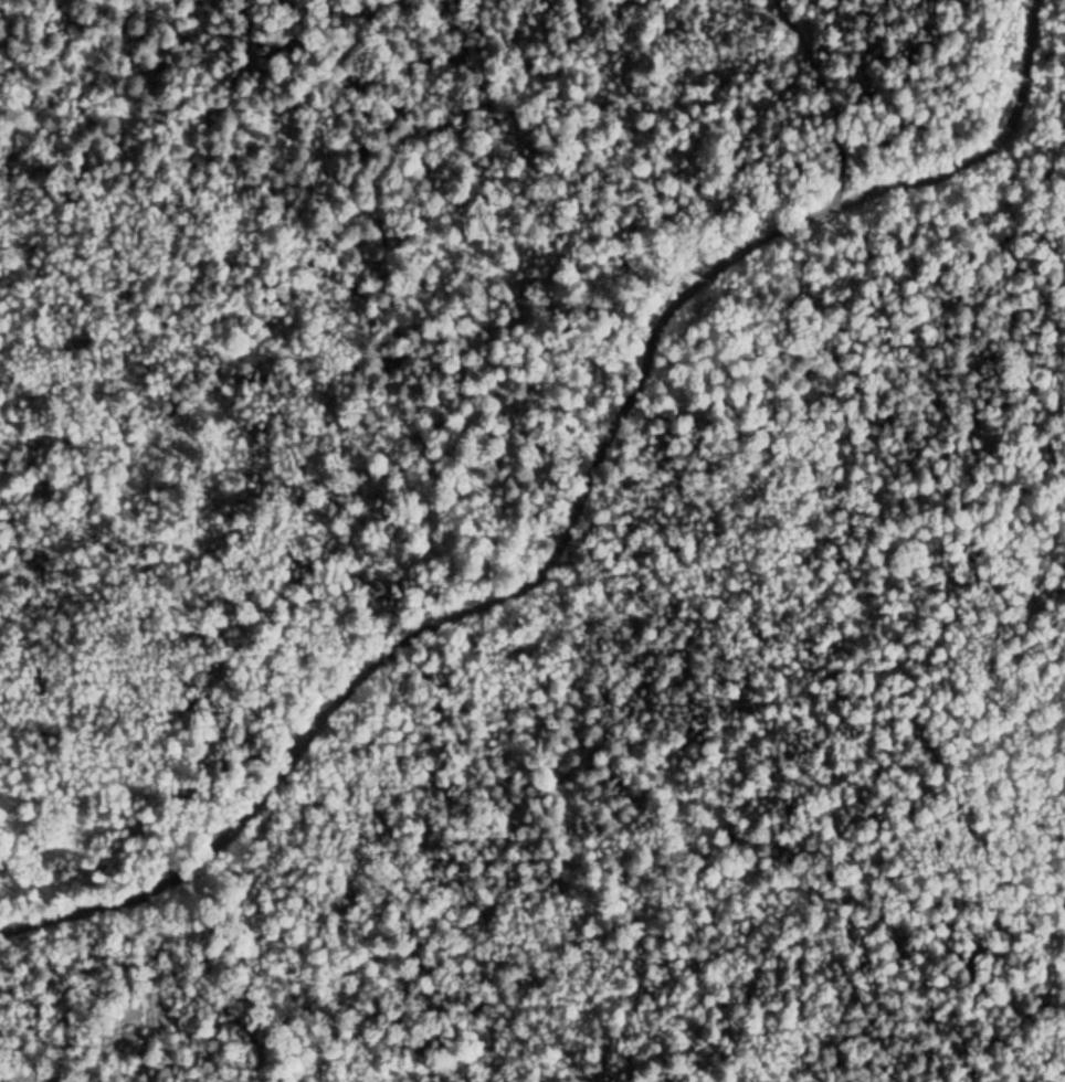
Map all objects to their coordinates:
road: (587, 522)

